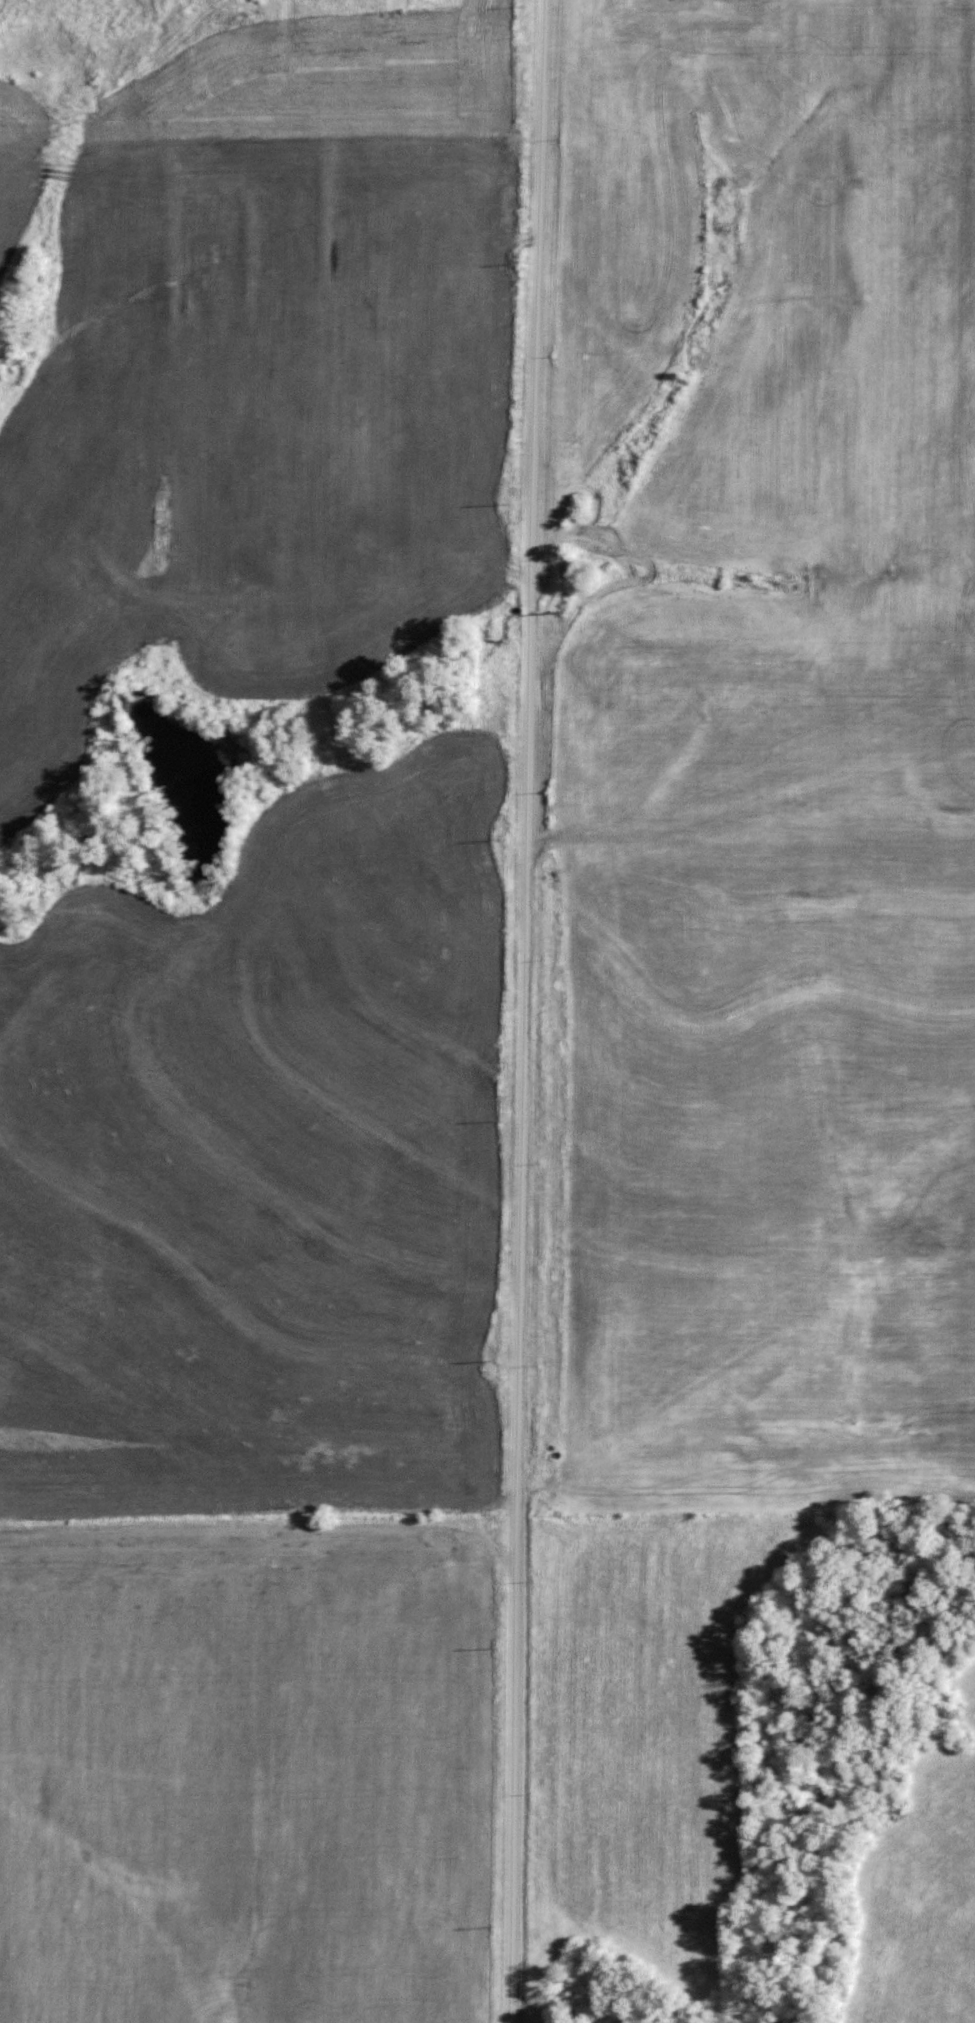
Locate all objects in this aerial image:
road: (526, 1011)

